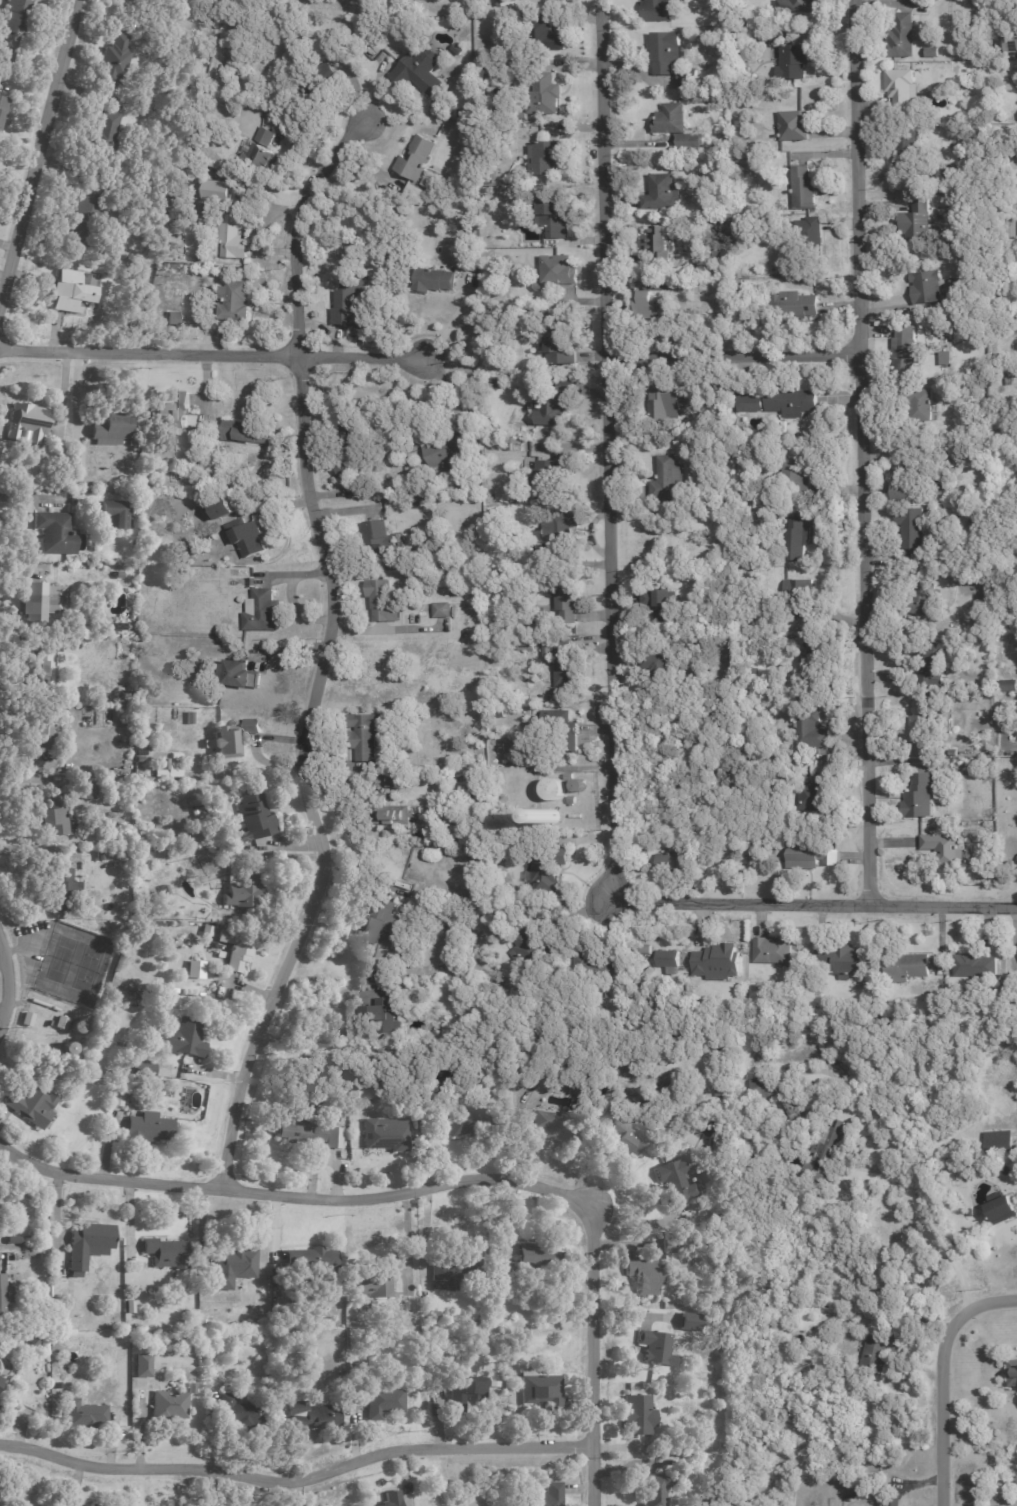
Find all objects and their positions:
building: (493, 4)
building: (794, 6)
building: (656, 11)
building: (15, 17)
building: (768, 34)
building: (547, 36)
building: (901, 38)
building: (1010, 45)
building: (459, 50)
building: (666, 53)
building: (931, 53)
building: (112, 60)
building: (792, 62)
building: (417, 70)
building: (687, 81)
building: (313, 83)
building: (901, 89)
building: (1011, 89)
building: (544, 93)
building: (3, 114)
building: (669, 121)
building: (742, 124)
building: (793, 127)
building: (518, 129)
building: (104, 134)
building: (685, 143)
building: (973, 145)
road: (38, 146)
building: (905, 151)
building: (257, 157)
building: (545, 157)
building: (416, 159)
building: (743, 161)
building: (747, 174)
building: (212, 189)
building: (802, 189)
building: (415, 194)
building: (660, 194)
building: (80, 215)
building: (548, 215)
building: (913, 227)
building: (810, 233)
building: (230, 236)
building: (657, 247)
building: (149, 259)
building: (558, 271)
building: (433, 281)
building: (684, 287)
building: (926, 289)
building: (70, 293)
building: (195, 300)
building: (232, 302)
building: (347, 303)
building: (651, 306)
building: (791, 307)
building: (541, 318)
building: (173, 320)
building: (1013, 324)
road: (211, 348)
building: (907, 351)
road: (732, 352)
building: (556, 353)
building: (942, 357)
building: (1008, 381)
building: (499, 384)
building: (790, 400)
building: (552, 404)
building: (666, 404)
building: (750, 404)
building: (922, 406)
building: (173, 413)
building: (27, 423)
building: (350, 431)
building: (107, 432)
building: (247, 432)
road: (606, 442)
building: (509, 447)
building: (444, 450)
road: (860, 450)
building: (74, 459)
building: (342, 472)
building: (904, 475)
building: (796, 476)
building: (666, 480)
building: (541, 482)
road: (33, 497)
building: (416, 506)
building: (222, 509)
building: (112, 517)
building: (557, 525)
building: (52, 527)
building: (909, 529)
building: (245, 538)
building: (379, 538)
building: (796, 541)
building: (116, 576)
building: (923, 597)
building: (800, 598)
building: (660, 600)
building: (565, 601)
building: (37, 603)
building: (380, 603)
building: (441, 611)
building: (261, 612)
building: (525, 645)
road: (323, 650)
building: (562, 660)
building: (818, 661)
building: (654, 665)
building: (931, 667)
building: (36, 670)
building: (232, 675)
building: (984, 685)
building: (1008, 687)
building: (123, 698)
building: (498, 713)
building: (921, 722)
building: (254, 727)
building: (560, 729)
building: (40, 734)
building: (810, 735)
building: (365, 739)
building: (223, 743)
building: (514, 754)
building: (953, 754)
building: (163, 765)
road: (26, 777)
building: (568, 777)
building: (392, 782)
building: (551, 787)
building: (88, 793)
building: (810, 797)
building: (918, 797)
building: (572, 801)
building: (253, 816)
building: (390, 816)
building: (53, 817)
building: (546, 817)
building: (748, 841)
building: (944, 849)
building: (747, 850)
building: (101, 857)
building: (807, 857)
building: (672, 862)
building: (549, 870)
building: (61, 891)
building: (165, 892)
building: (242, 894)
road: (817, 899)
building: (377, 924)
building: (205, 933)
building: (522, 949)
building: (236, 951)
building: (643, 951)
building: (772, 952)
building: (667, 959)
building: (840, 960)
building: (716, 963)
building: (590, 967)
building: (975, 967)
building: (194, 968)
building: (906, 968)
road: (12, 983)
building: (999, 997)
building: (379, 1016)
building: (931, 1020)
building: (25, 1021)
building: (59, 1024)
road: (308, 1035)
building: (179, 1040)
building: (594, 1056)
building: (140, 1066)
building: (332, 1071)
building: (610, 1074)
building: (782, 1074)
building: (444, 1075)
building: (760, 1088)
building: (789, 1104)
building: (31, 1107)
building: (542, 1122)
building: (461, 1124)
building: (148, 1129)
building: (298, 1132)
building: (385, 1136)
building: (332, 1140)
building: (621, 1140)
building: (825, 1142)
building: (997, 1143)
building: (677, 1183)
building: (0, 1191)
road: (291, 1192)
building: (1001, 1211)
building: (2, 1213)
building: (969, 1213)
road: (920, 1217)
building: (12, 1242)
building: (669, 1243)
building: (88, 1246)
building: (164, 1254)
building: (311, 1261)
building: (518, 1267)
building: (231, 1268)
building: (443, 1276)
building: (643, 1278)
building: (372, 1285)
building: (4, 1295)
road: (987, 1304)
building: (405, 1307)
building: (129, 1308)
building: (687, 1323)
building: (113, 1329)
building: (32, 1342)
building: (658, 1352)
road: (592, 1353)
building: (875, 1356)
building: (142, 1365)
building: (1012, 1374)
building: (0, 1377)
building: (0, 1382)
building: (540, 1391)
building: (465, 1393)
building: (383, 1404)
building: (168, 1407)
road: (940, 1409)
building: (240, 1415)
building: (634, 1416)
building: (84, 1417)
building: (310, 1417)
building: (698, 1450)
road: (296, 1478)
building: (896, 1486)
building: (654, 1489)
building: (860, 1496)
building: (546, 1497)
building: (394, 1499)
building: (893, 1501)
building: (85, 1504)
building: (867, 1505)
building: (1001, 1505)

